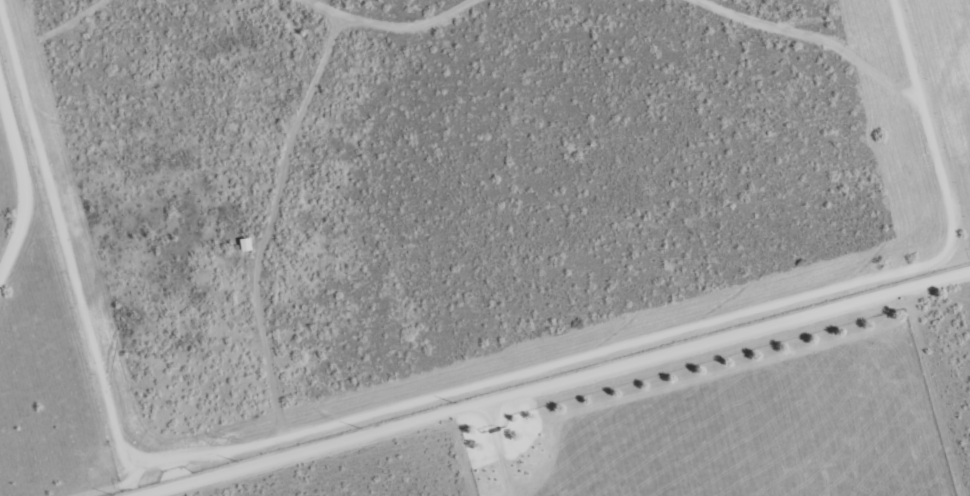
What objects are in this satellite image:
road: (23, 188)

